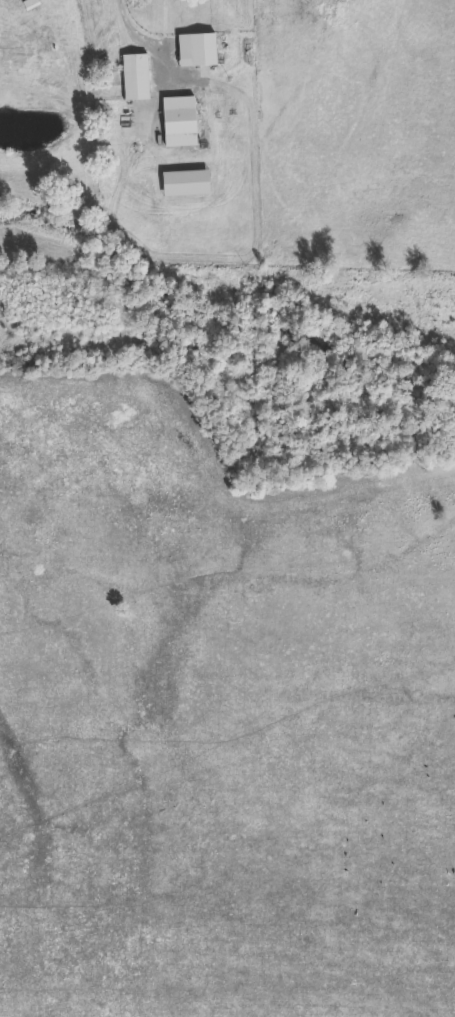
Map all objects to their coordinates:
road: (143, 36)
building: (199, 52)
building: (138, 78)
building: (182, 123)
building: (190, 185)

